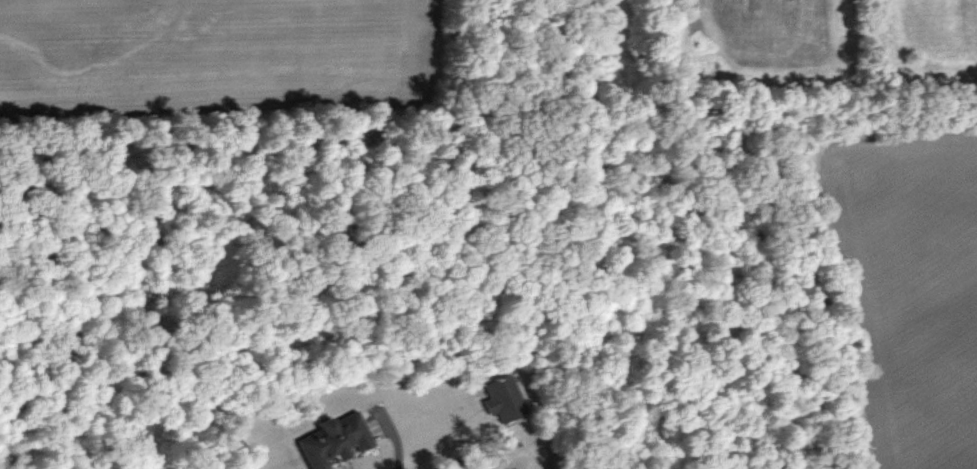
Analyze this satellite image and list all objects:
building: (503, 398)
building: (334, 439)

